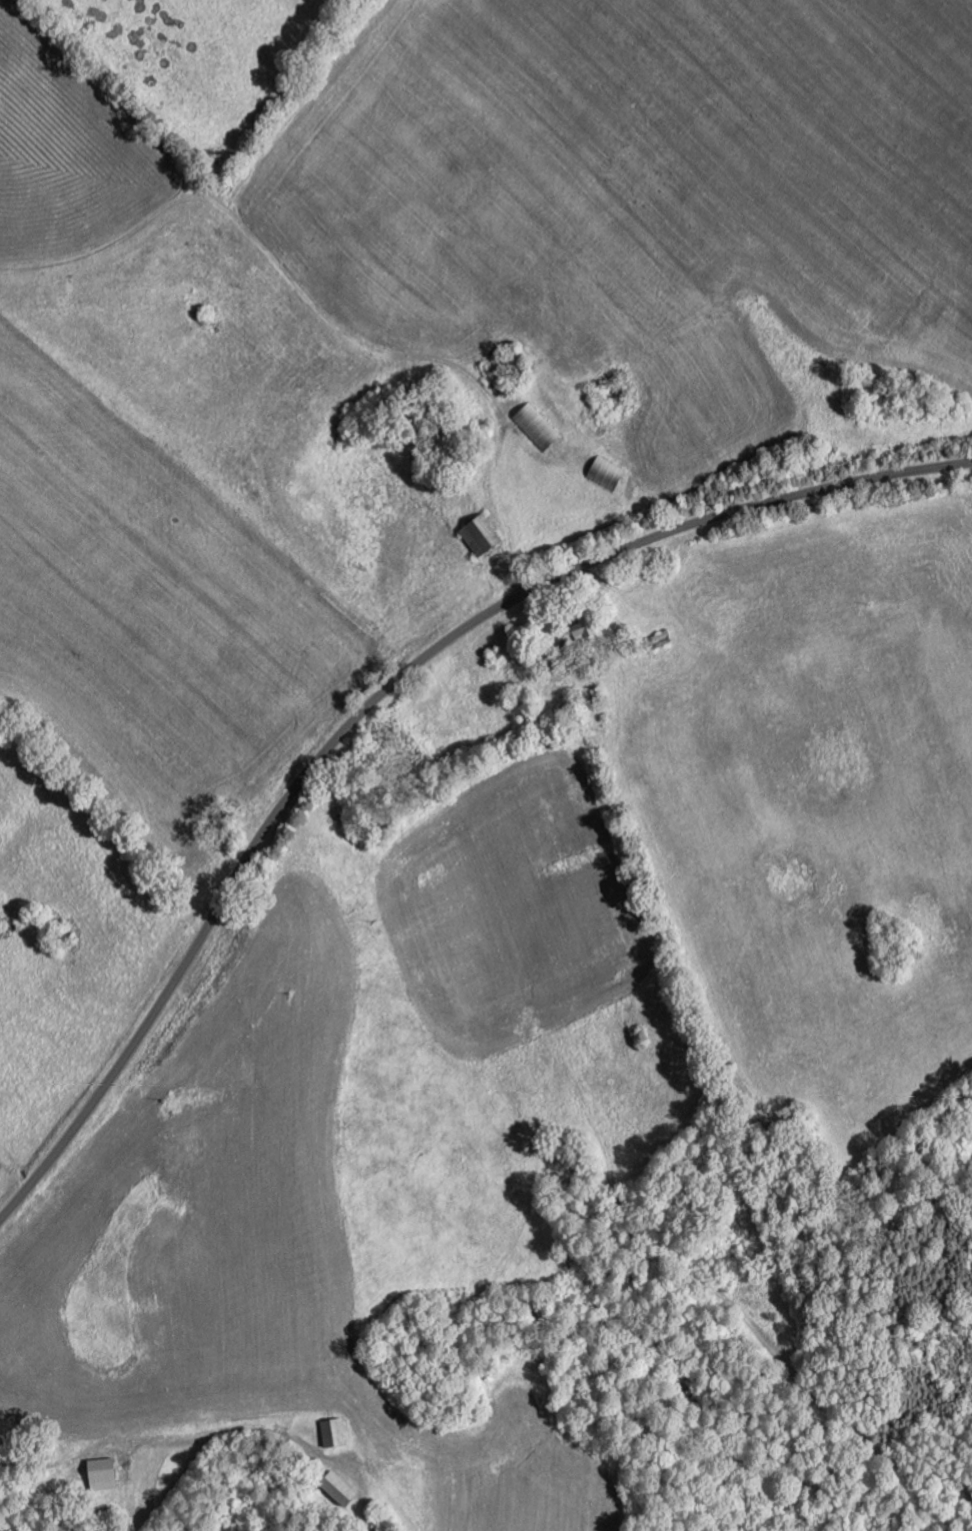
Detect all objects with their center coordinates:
building: (476, 534)
road: (379, 698)
building: (100, 1473)
building: (334, 1487)

